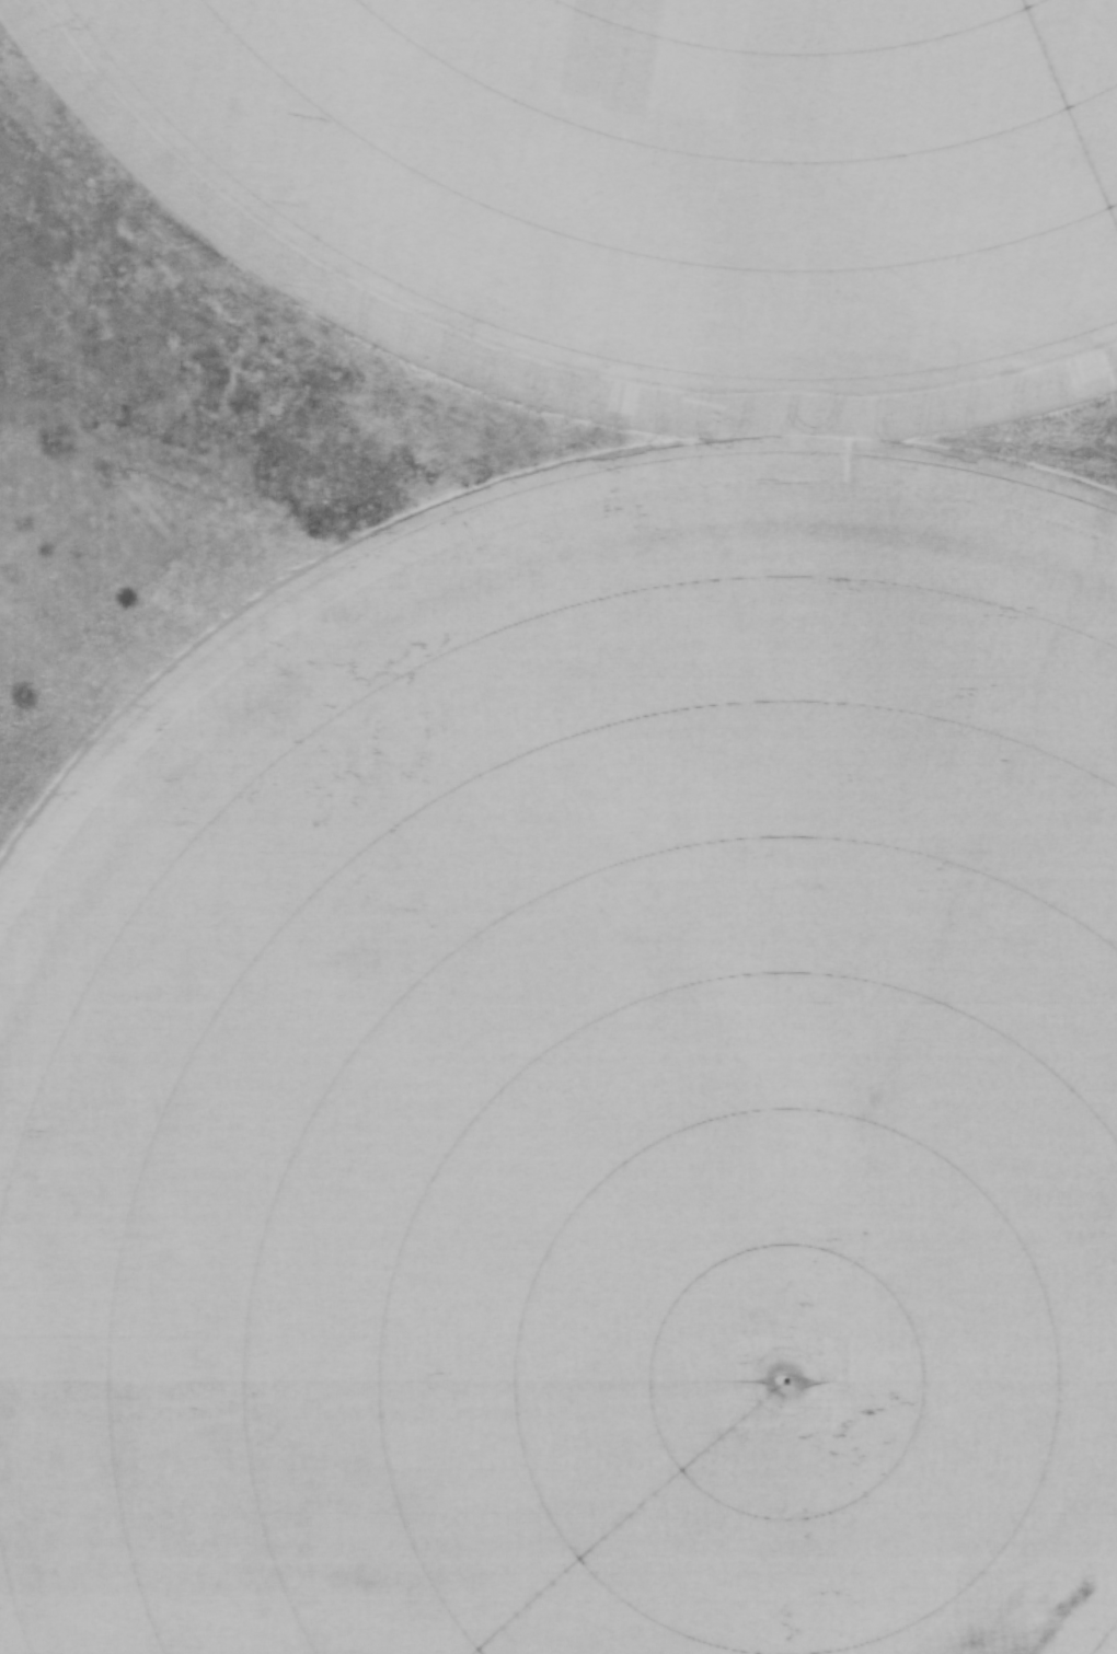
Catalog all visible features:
crop: (644, 183)
crop: (586, 1089)

